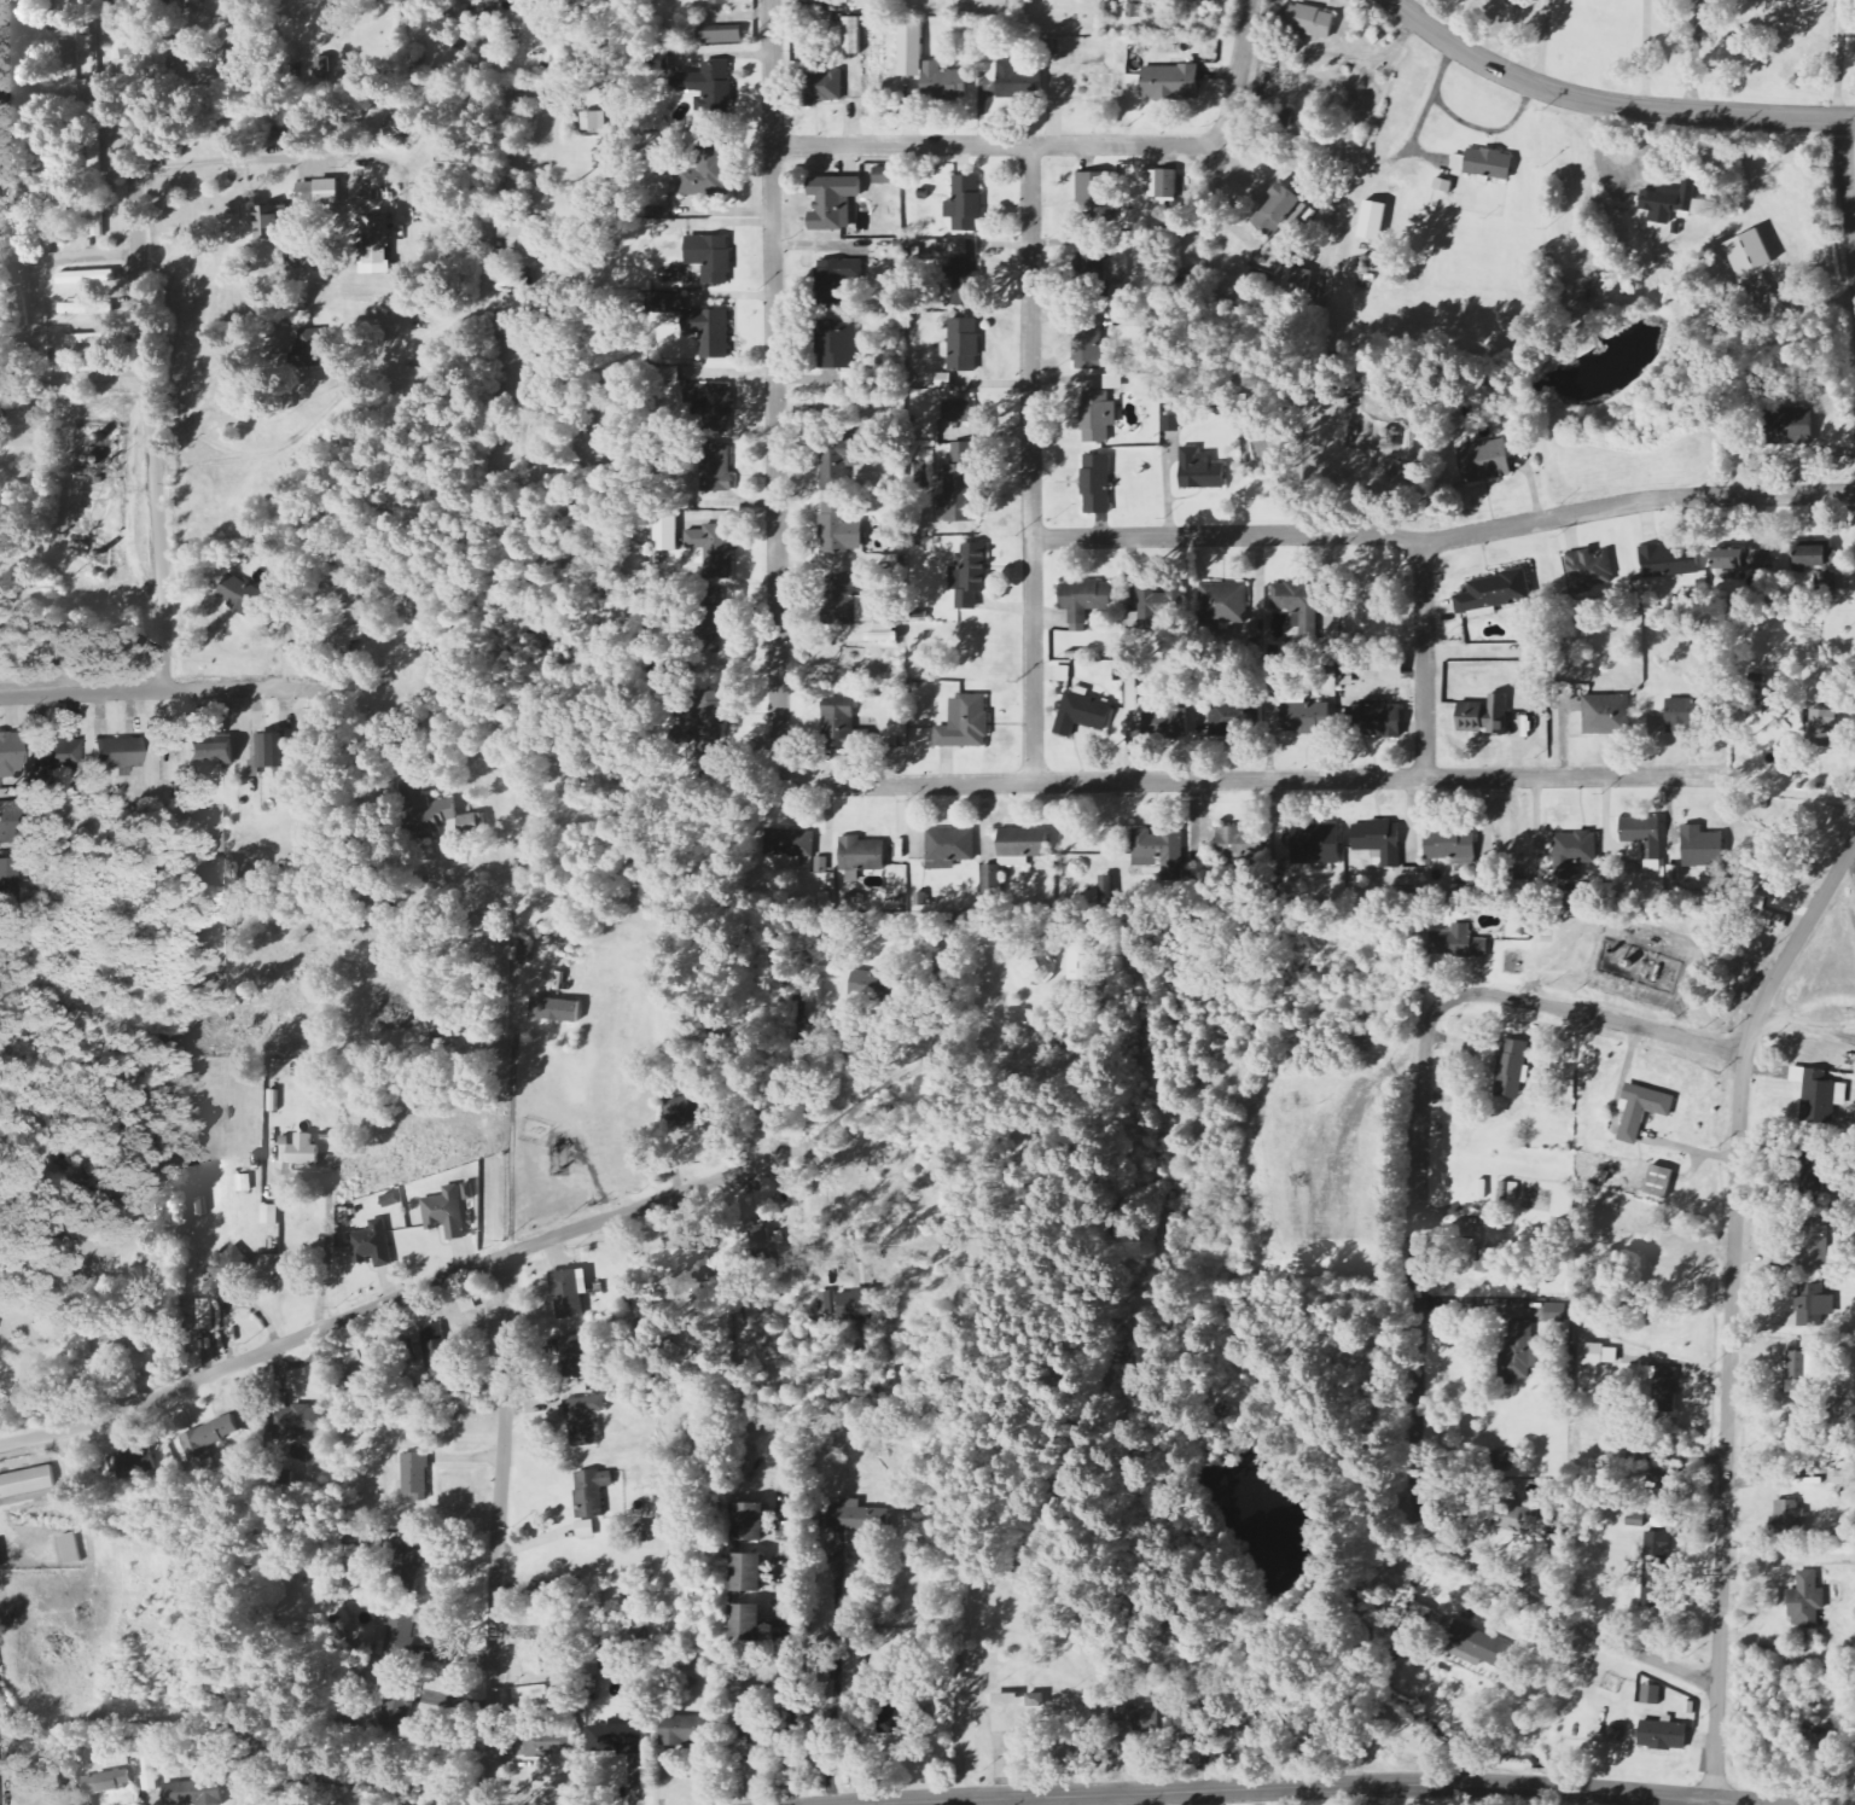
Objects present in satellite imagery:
building: (1146, 0)
building: (719, 1)
road: (1420, 8)
building: (1307, 21)
road: (1510, 34)
building: (853, 35)
building: (720, 37)
road: (1541, 42)
building: (57, 43)
road: (16, 48)
building: (911, 50)
road: (1644, 54)
building: (657, 60)
building: (1054, 63)
road: (1238, 72)
building: (1011, 80)
building: (943, 82)
building: (1170, 82)
building: (709, 85)
building: (824, 86)
road: (59, 95)
road: (1611, 104)
building: (593, 121)
road: (995, 147)
road: (263, 157)
building: (1484, 164)
building: (704, 174)
building: (885, 175)
building: (1167, 185)
building: (327, 193)
building: (1093, 198)
building: (833, 203)
building: (1675, 203)
building: (965, 204)
building: (24, 209)
road: (1849, 209)
building: (1280, 210)
building: (63, 219)
building: (1373, 221)
building: (272, 222)
building: (82, 225)
building: (444, 232)
building: (524, 237)
building: (376, 240)
road: (24, 252)
building: (1749, 254)
building: (710, 257)
road: (43, 263)
building: (1092, 273)
building: (87, 278)
building: (836, 281)
building: (964, 283)
building: (23, 301)
building: (665, 303)
building: (75, 308)
building: (512, 325)
building: (709, 332)
building: (88, 338)
building: (835, 344)
building: (964, 345)
building: (310, 348)
building: (1092, 349)
building: (80, 367)
road: (360, 373)
road: (779, 375)
building: (1113, 382)
road: (150, 394)
building: (714, 406)
building: (958, 413)
building: (1098, 417)
building: (1171, 424)
building: (839, 462)
building: (1484, 462)
road: (1034, 464)
building: (716, 468)
building: (1200, 471)
building: (1097, 485)
building: (959, 487)
building: (839, 530)
road: (1444, 536)
building: (713, 551)
building: (1815, 555)
building: (1743, 560)
building: (1670, 561)
building: (1588, 571)
building: (970, 575)
building: (1826, 588)
building: (1494, 593)
building: (238, 595)
building: (1295, 598)
building: (1227, 600)
building: (1084, 601)
building: (1158, 602)
building: (708, 622)
building: (883, 637)
building: (348, 639)
road: (1425, 657)
road: (159, 691)
building: (838, 701)
building: (1082, 715)
building: (1606, 715)
building: (1484, 716)
building: (1680, 716)
building: (1306, 717)
building: (1374, 720)
building: (1223, 722)
building: (705, 723)
building: (965, 723)
building: (839, 729)
building: (1820, 729)
building: (117, 753)
building: (271, 753)
building: (59, 755)
building: (10, 756)
building: (209, 757)
road: (1241, 779)
building: (436, 816)
building: (5, 823)
building: (1229, 838)
building: (1644, 842)
building: (789, 844)
building: (952, 845)
building: (1316, 845)
building: (1450, 845)
building: (1020, 846)
building: (1700, 846)
building: (1159, 850)
building: (1574, 854)
building: (862, 855)
building: (10, 883)
building: (1757, 914)
building: (1458, 944)
building: (1080, 962)
building: (1037, 971)
building: (877, 988)
building: (556, 1011)
building: (1511, 1070)
building: (1820, 1095)
building: (691, 1111)
building: (1642, 1111)
road: (511, 1142)
building: (284, 1148)
building: (303, 1151)
building: (1814, 1166)
building: (1658, 1182)
building: (244, 1183)
building: (1482, 1189)
building: (1510, 1192)
building: (446, 1212)
building: (271, 1215)
building: (763, 1242)
building: (372, 1245)
building: (1809, 1245)
building: (1490, 1250)
road: (324, 1254)
building: (226, 1269)
road: (1419, 1274)
building: (569, 1293)
road: (399, 1299)
road: (1732, 1304)
building: (859, 1305)
building: (1810, 1305)
building: (1555, 1312)
building: (205, 1315)
building: (121, 1337)
building: (436, 1347)
building: (1520, 1350)
building: (1598, 1355)
building: (575, 1356)
building: (1801, 1372)
building: (1664, 1388)
building: (293, 1420)
building: (585, 1420)
building: (207, 1438)
building: (1501, 1461)
building: (130, 1467)
building: (415, 1477)
building: (25, 1481)
building: (591, 1498)
building: (1527, 1512)
building: (1789, 1514)
building: (854, 1518)
building: (749, 1522)
road: (501, 1532)
building: (645, 1533)
building: (70, 1548)
building: (1655, 1568)
building: (749, 1572)
building: (406, 1573)
building: (1807, 1601)
building: (748, 1621)
building: (1478, 1644)
road: (791, 1650)
building: (605, 1658)
building: (825, 1667)
building: (1651, 1695)
building: (1006, 1699)
building: (564, 1705)
building: (1129, 1711)
building: (891, 1720)
building: (752, 1725)
building: (685, 1729)
building: (616, 1736)
building: (1663, 1736)
building: (549, 1745)
building: (105, 1781)
road: (1318, 1784)
building: (192, 1793)
road: (1639, 1799)
building: (85, 1800)
road: (1016, 1800)

